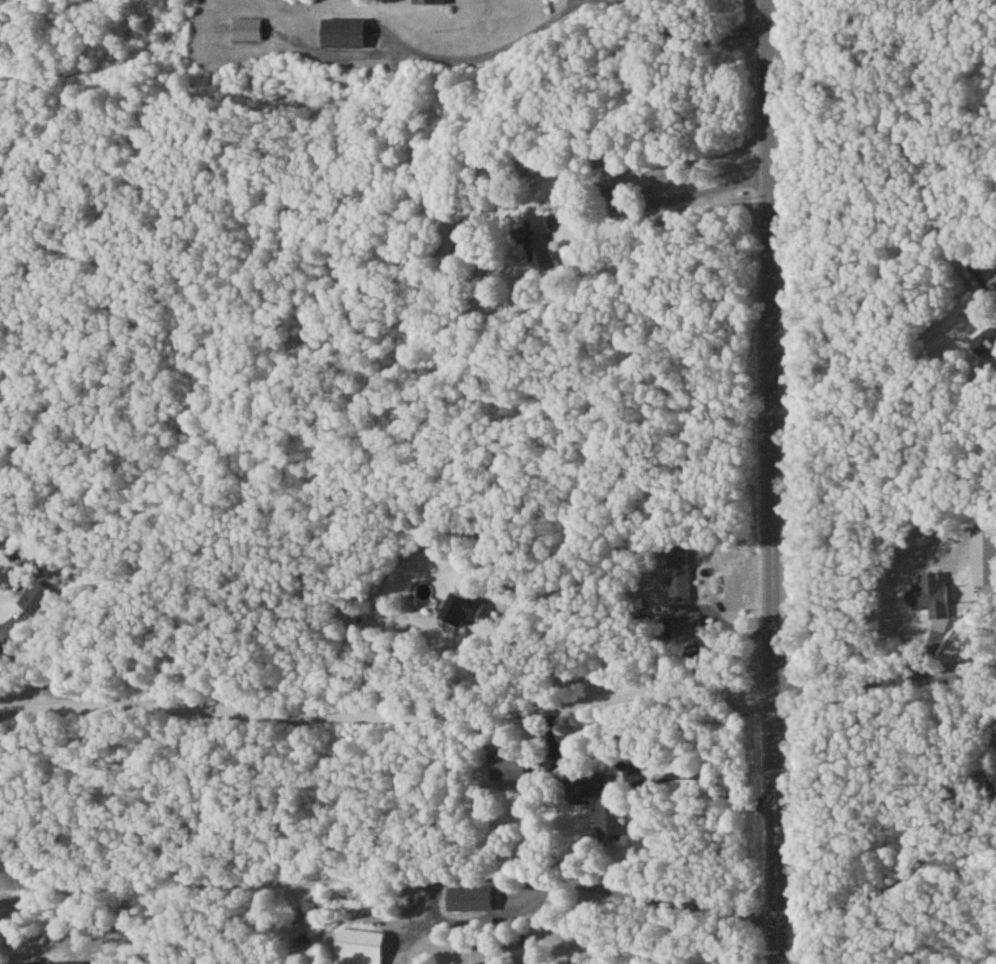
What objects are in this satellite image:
building: (430, 4)
road: (686, 12)
building: (343, 37)
road: (903, 141)
road: (676, 202)
building: (539, 245)
road: (886, 412)
road: (388, 420)
road: (778, 482)
building: (984, 560)
building: (678, 577)
building: (929, 599)
building: (35, 603)
building: (461, 613)
road: (10, 627)
road: (560, 667)
road: (888, 680)
road: (389, 719)
building: (507, 769)
road: (645, 776)
building: (596, 807)
road: (896, 872)
road: (652, 897)
building: (469, 902)
building: (358, 948)
building: (517, 957)

